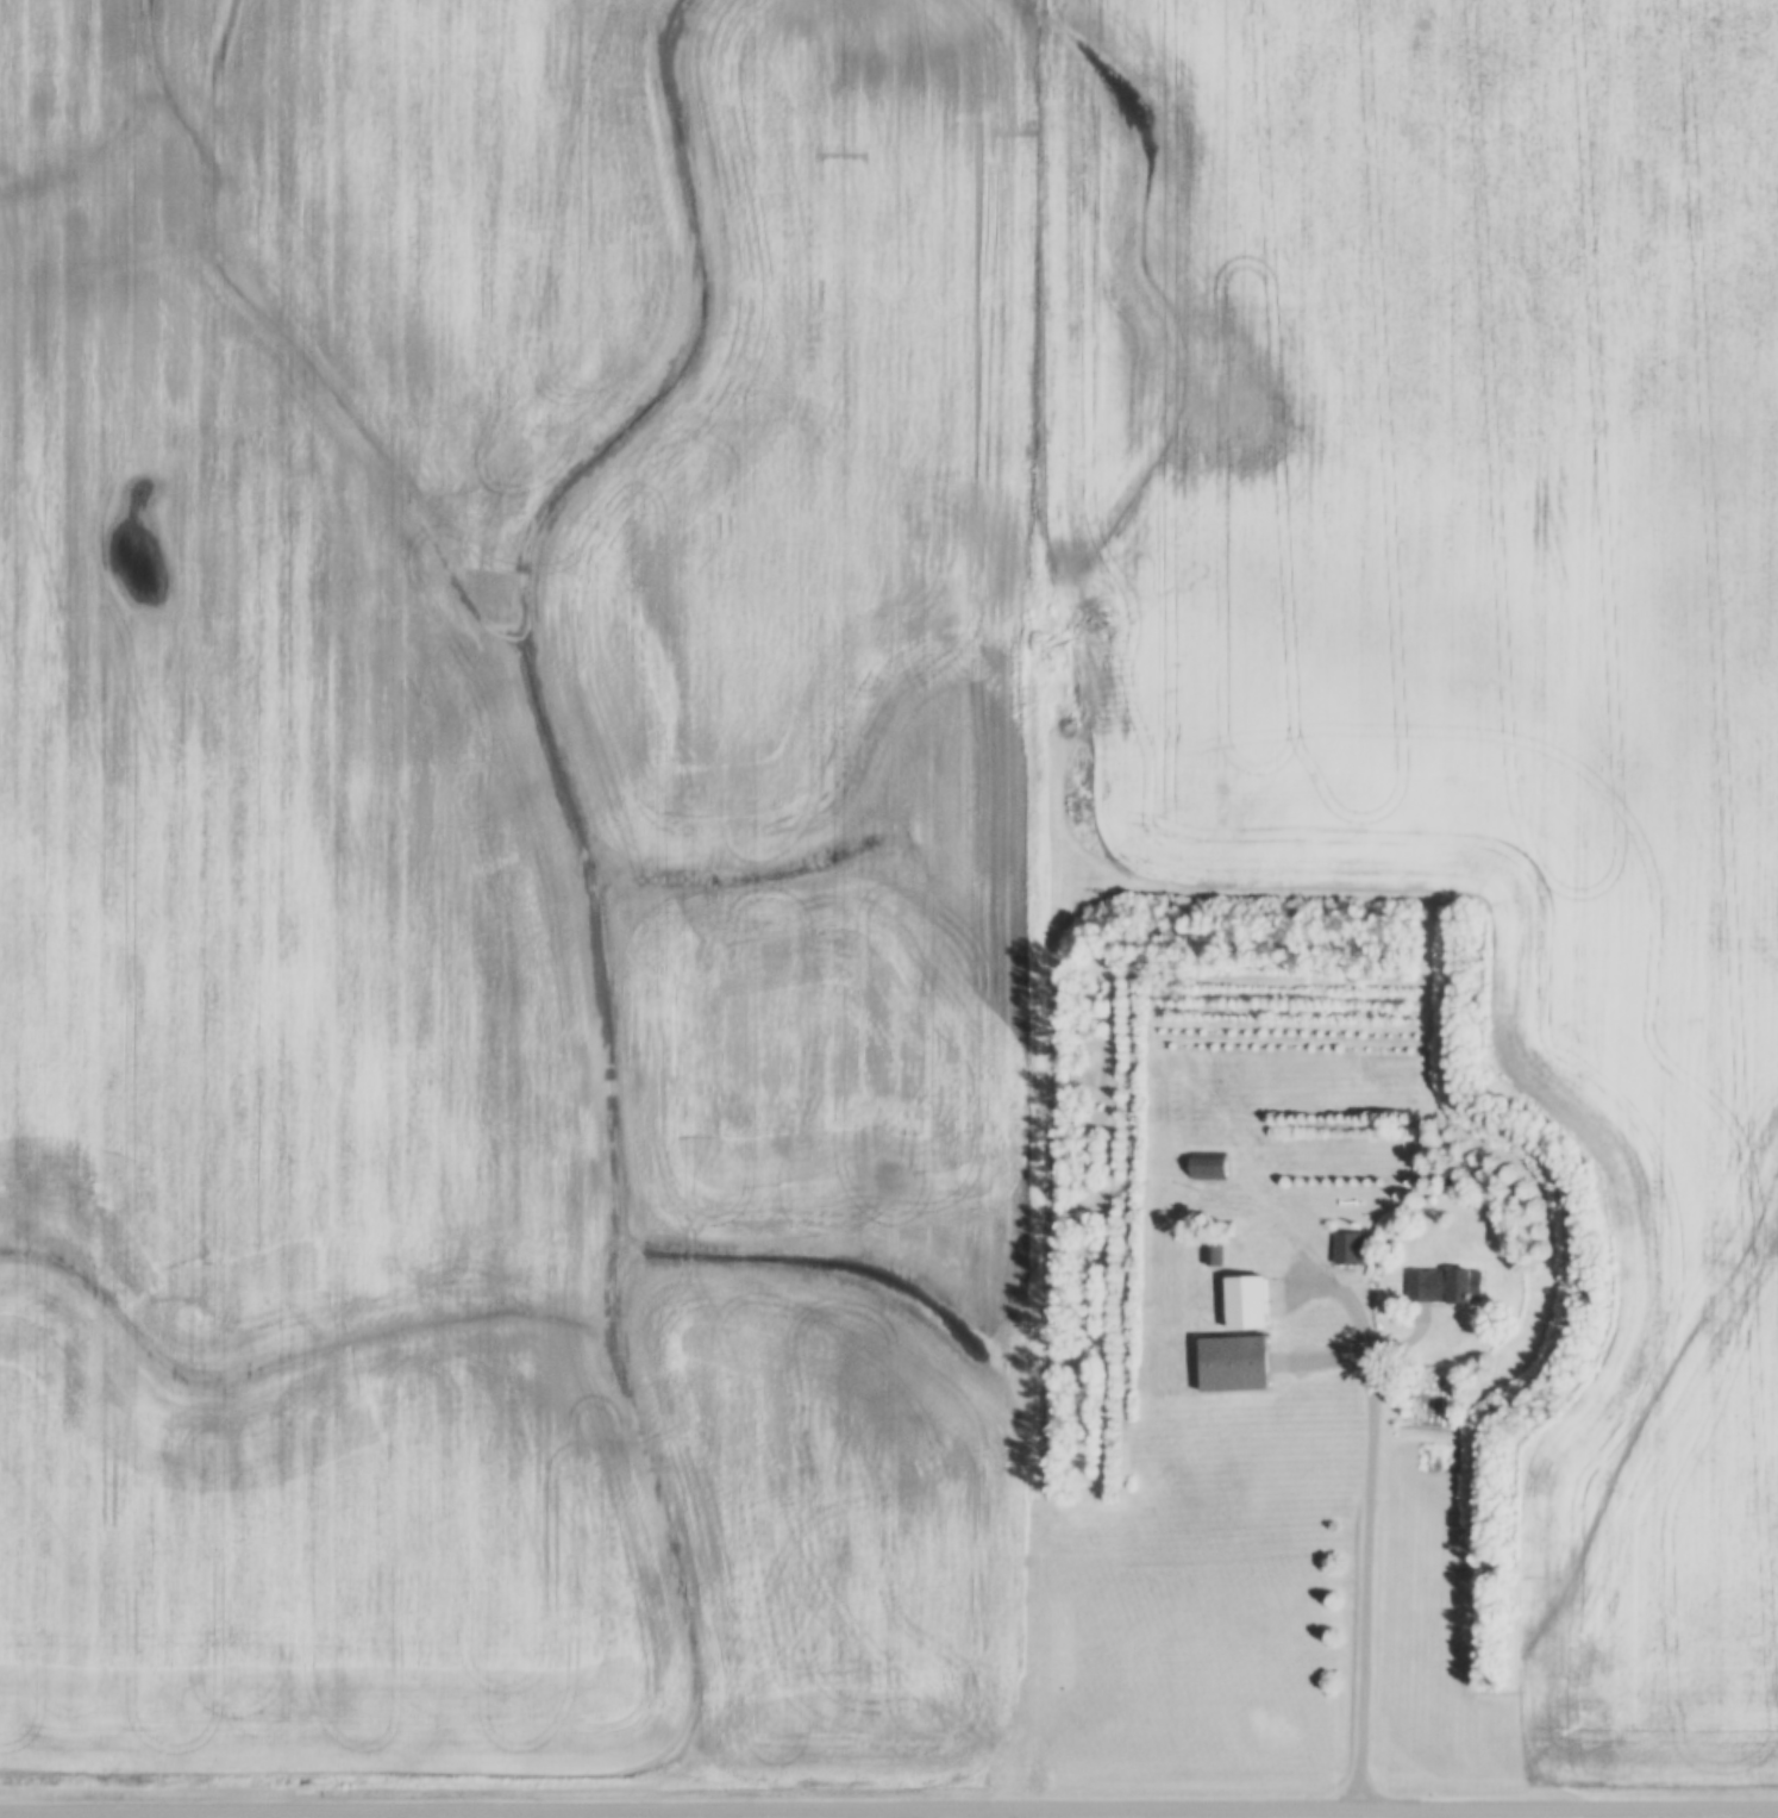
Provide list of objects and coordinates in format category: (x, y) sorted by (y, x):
road: (1267, 980)
building: (1209, 1166)
building: (1212, 1255)
building: (1447, 1287)
building: (1248, 1302)
building: (1237, 1364)
road: (1372, 1517)
road: (888, 1810)
road: (1027, 1813)

